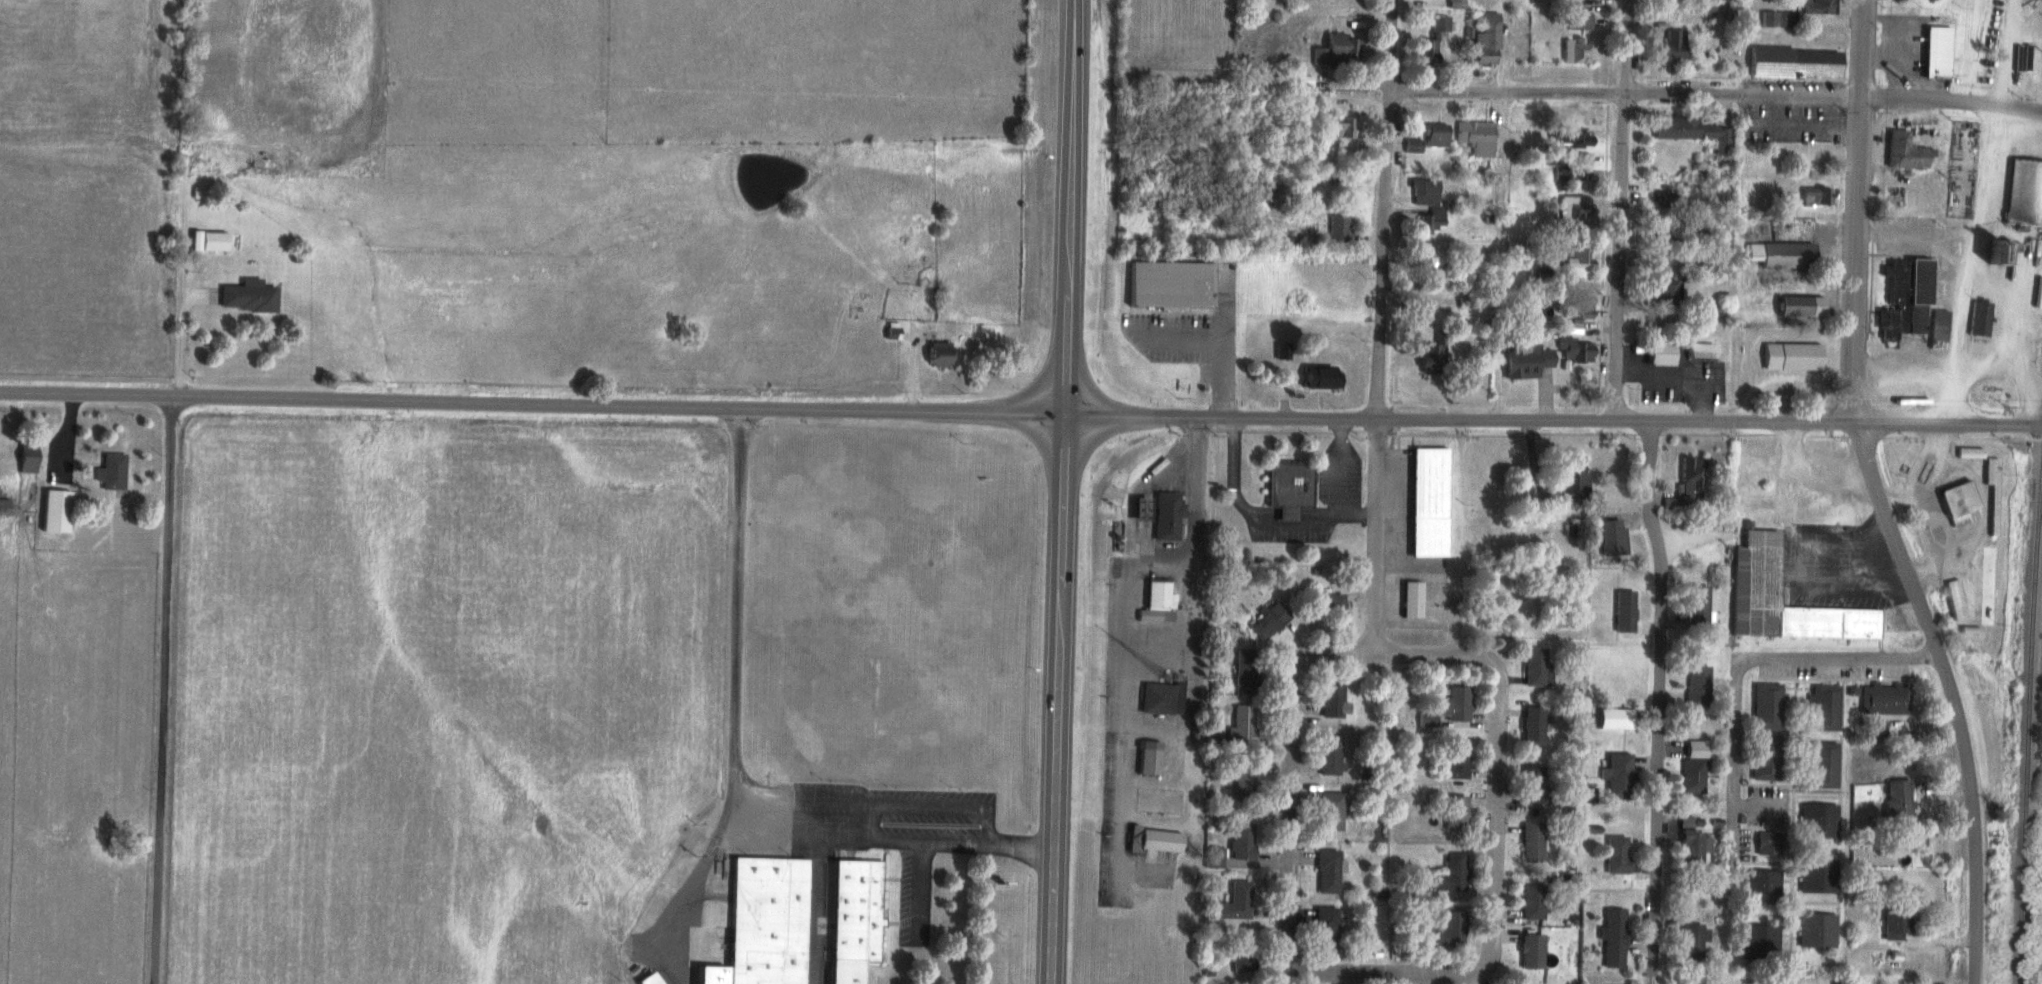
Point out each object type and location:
building: (1813, 7)
building: (1767, 20)
building: (1784, 20)
building: (1578, 21)
building: (1440, 24)
building: (1486, 42)
building: (1669, 47)
road: (1858, 47)
building: (1338, 51)
building: (1428, 51)
building: (1578, 52)
building: (1936, 53)
building: (1794, 63)
road: (1621, 91)
road: (1949, 103)
building: (1334, 128)
building: (1693, 132)
building: (1435, 135)
building: (1477, 137)
building: (1574, 138)
building: (1412, 146)
building: (1904, 152)
building: (1580, 158)
building: (1564, 173)
road: (1983, 174)
building: (1424, 192)
building: (2024, 194)
building: (1816, 196)
building: (1673, 198)
building: (1573, 209)
road: (1622, 210)
road: (1382, 212)
building: (1431, 221)
building: (1340, 231)
building: (212, 241)
building: (1996, 251)
building: (1781, 255)
building: (1428, 257)
building: (1543, 279)
road: (183, 280)
building: (1169, 284)
building: (1666, 293)
building: (246, 295)
building: (1904, 299)
building: (1577, 313)
building: (1978, 319)
building: (1937, 326)
road: (1956, 329)
building: (1573, 349)
building: (1282, 350)
building: (1698, 351)
building: (1658, 352)
building: (937, 353)
building: (1433, 355)
building: (1790, 356)
building: (1525, 361)
road: (1903, 365)
road: (2011, 372)
building: (1320, 376)
road: (531, 405)
road: (1552, 421)
building: (1969, 452)
building: (26, 457)
building: (110, 471)
building: (1990, 472)
building: (1574, 478)
building: (1689, 478)
road: (1804, 482)
building: (1287, 488)
road: (1061, 491)
building: (1428, 502)
building: (1958, 502)
building: (1670, 505)
building: (1138, 508)
building: (53, 510)
road: (1925, 511)
building: (1165, 515)
road: (1263, 520)
road: (1691, 536)
road: (1374, 537)
building: (1611, 537)
road: (1893, 542)
building: (1755, 577)
building: (1954, 597)
building: (1411, 599)
building: (1156, 602)
building: (1696, 604)
building: (1324, 605)
building: (1623, 611)
building: (1268, 620)
road: (1757, 662)
building: (1535, 667)
building: (1243, 668)
building: (1696, 686)
road: (162, 691)
road: (737, 693)
building: (1159, 699)
building: (1884, 699)
building: (1331, 700)
road: (1659, 701)
building: (1454, 703)
building: (1766, 706)
building: (1824, 707)
railway: (2024, 711)
building: (1613, 718)
building: (1425, 719)
building: (1531, 725)
building: (1241, 729)
building: (1876, 730)
building: (1695, 749)
building: (1330, 755)
building: (1764, 757)
building: (1147, 758)
building: (1456, 760)
road: (1187, 763)
building: (1823, 765)
building: (1615, 775)
building: (1691, 776)
building: (1242, 780)
building: (1533, 784)
building: (1898, 802)
building: (1145, 806)
building: (1329, 811)
building: (1454, 813)
building: (1818, 821)
building: (1689, 822)
building: (1152, 840)
building: (1241, 841)
building: (1531, 843)
building: (1767, 843)
building: (1693, 844)
road: (894, 846)
building: (1615, 854)
building: (1213, 857)
building: (1328, 871)
building: (1450, 873)
building: (1816, 875)
building: (1211, 885)
building: (1759, 887)
building: (1235, 901)
building: (1530, 902)
building: (853, 918)
building: (766, 920)
building: (1896, 920)
building: (1325, 928)
building: (1449, 930)
building: (1815, 930)
building: (1612, 937)
building: (1759, 941)
building: (1692, 942)
building: (1530, 951)
building: (1241, 952)
road: (1471, 972)
building: (710, 975)
building: (647, 979)
building: (1246, 983)
building: (1521, 983)

